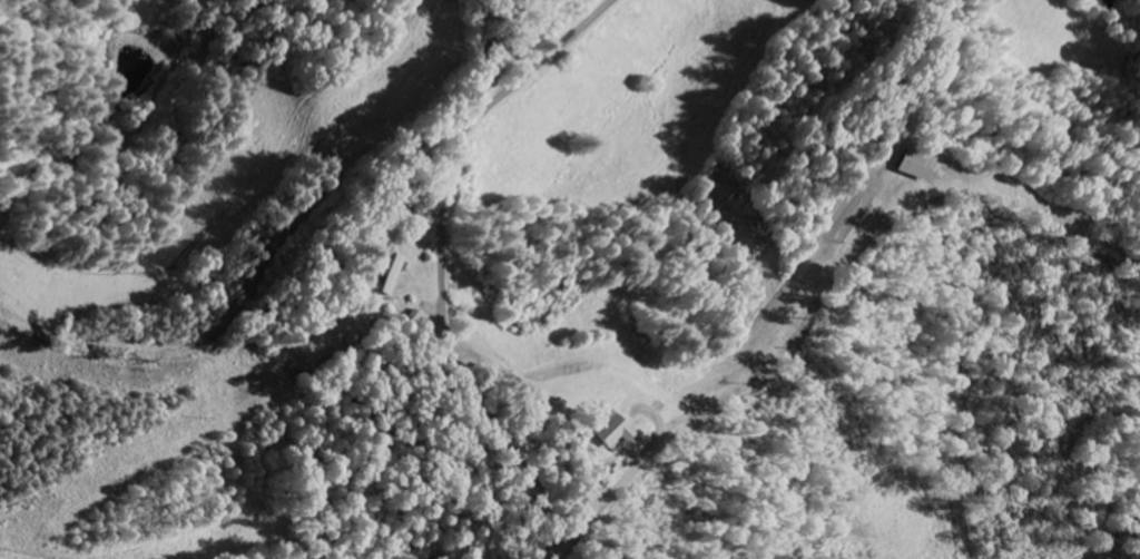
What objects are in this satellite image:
building: (915, 165)
road: (441, 258)
road: (829, 267)
building: (381, 288)
building: (605, 431)

